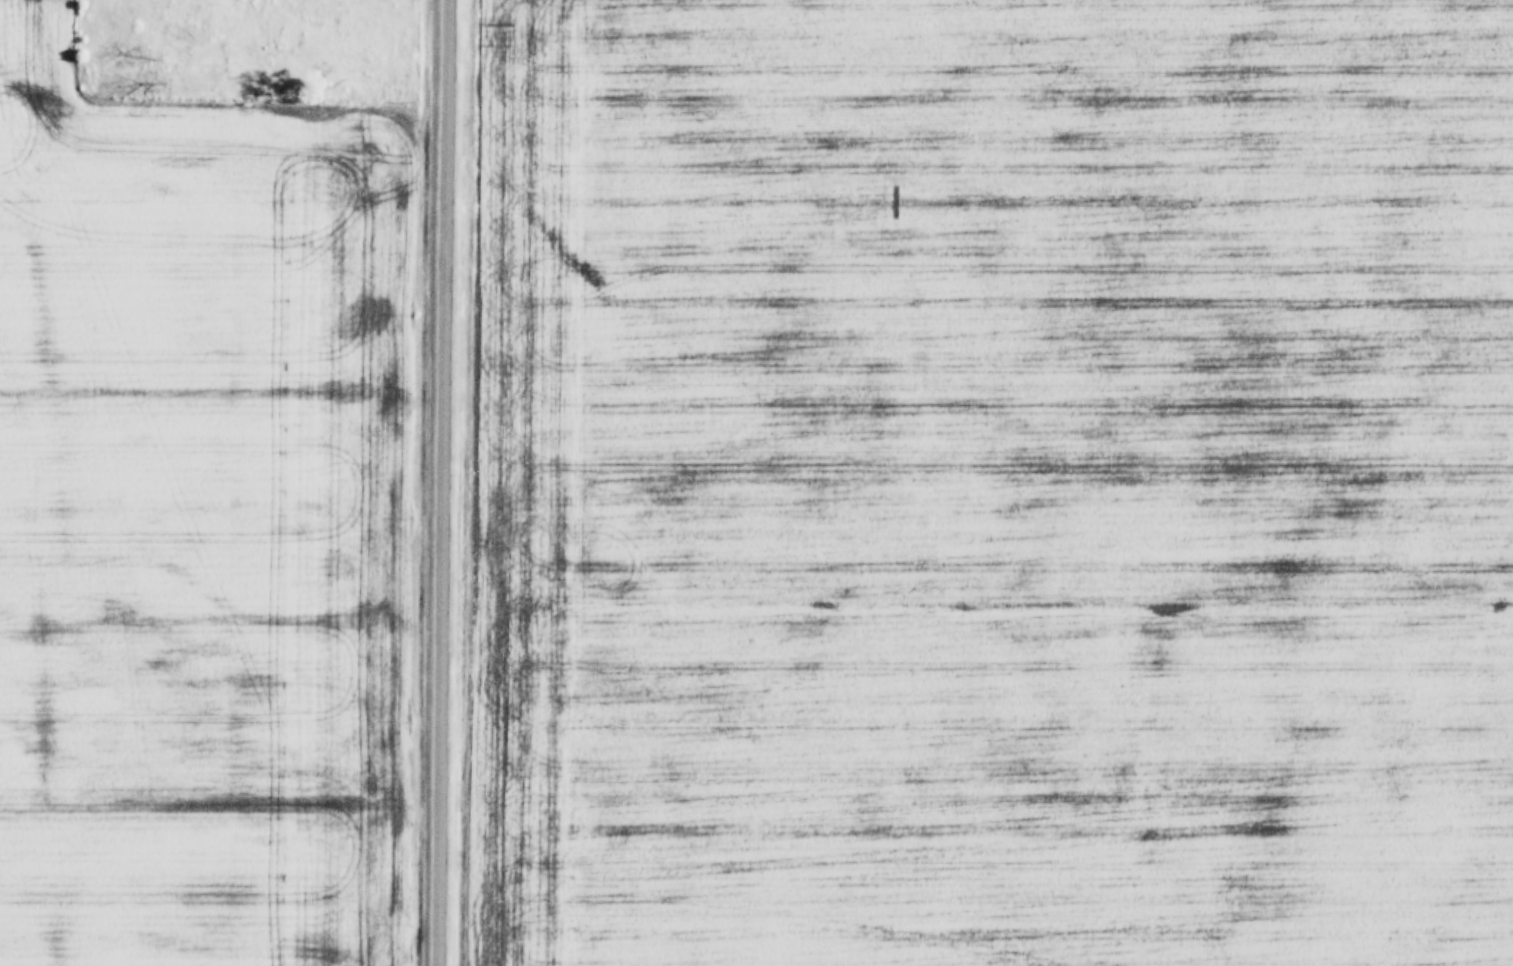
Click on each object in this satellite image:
road: (442, 483)

